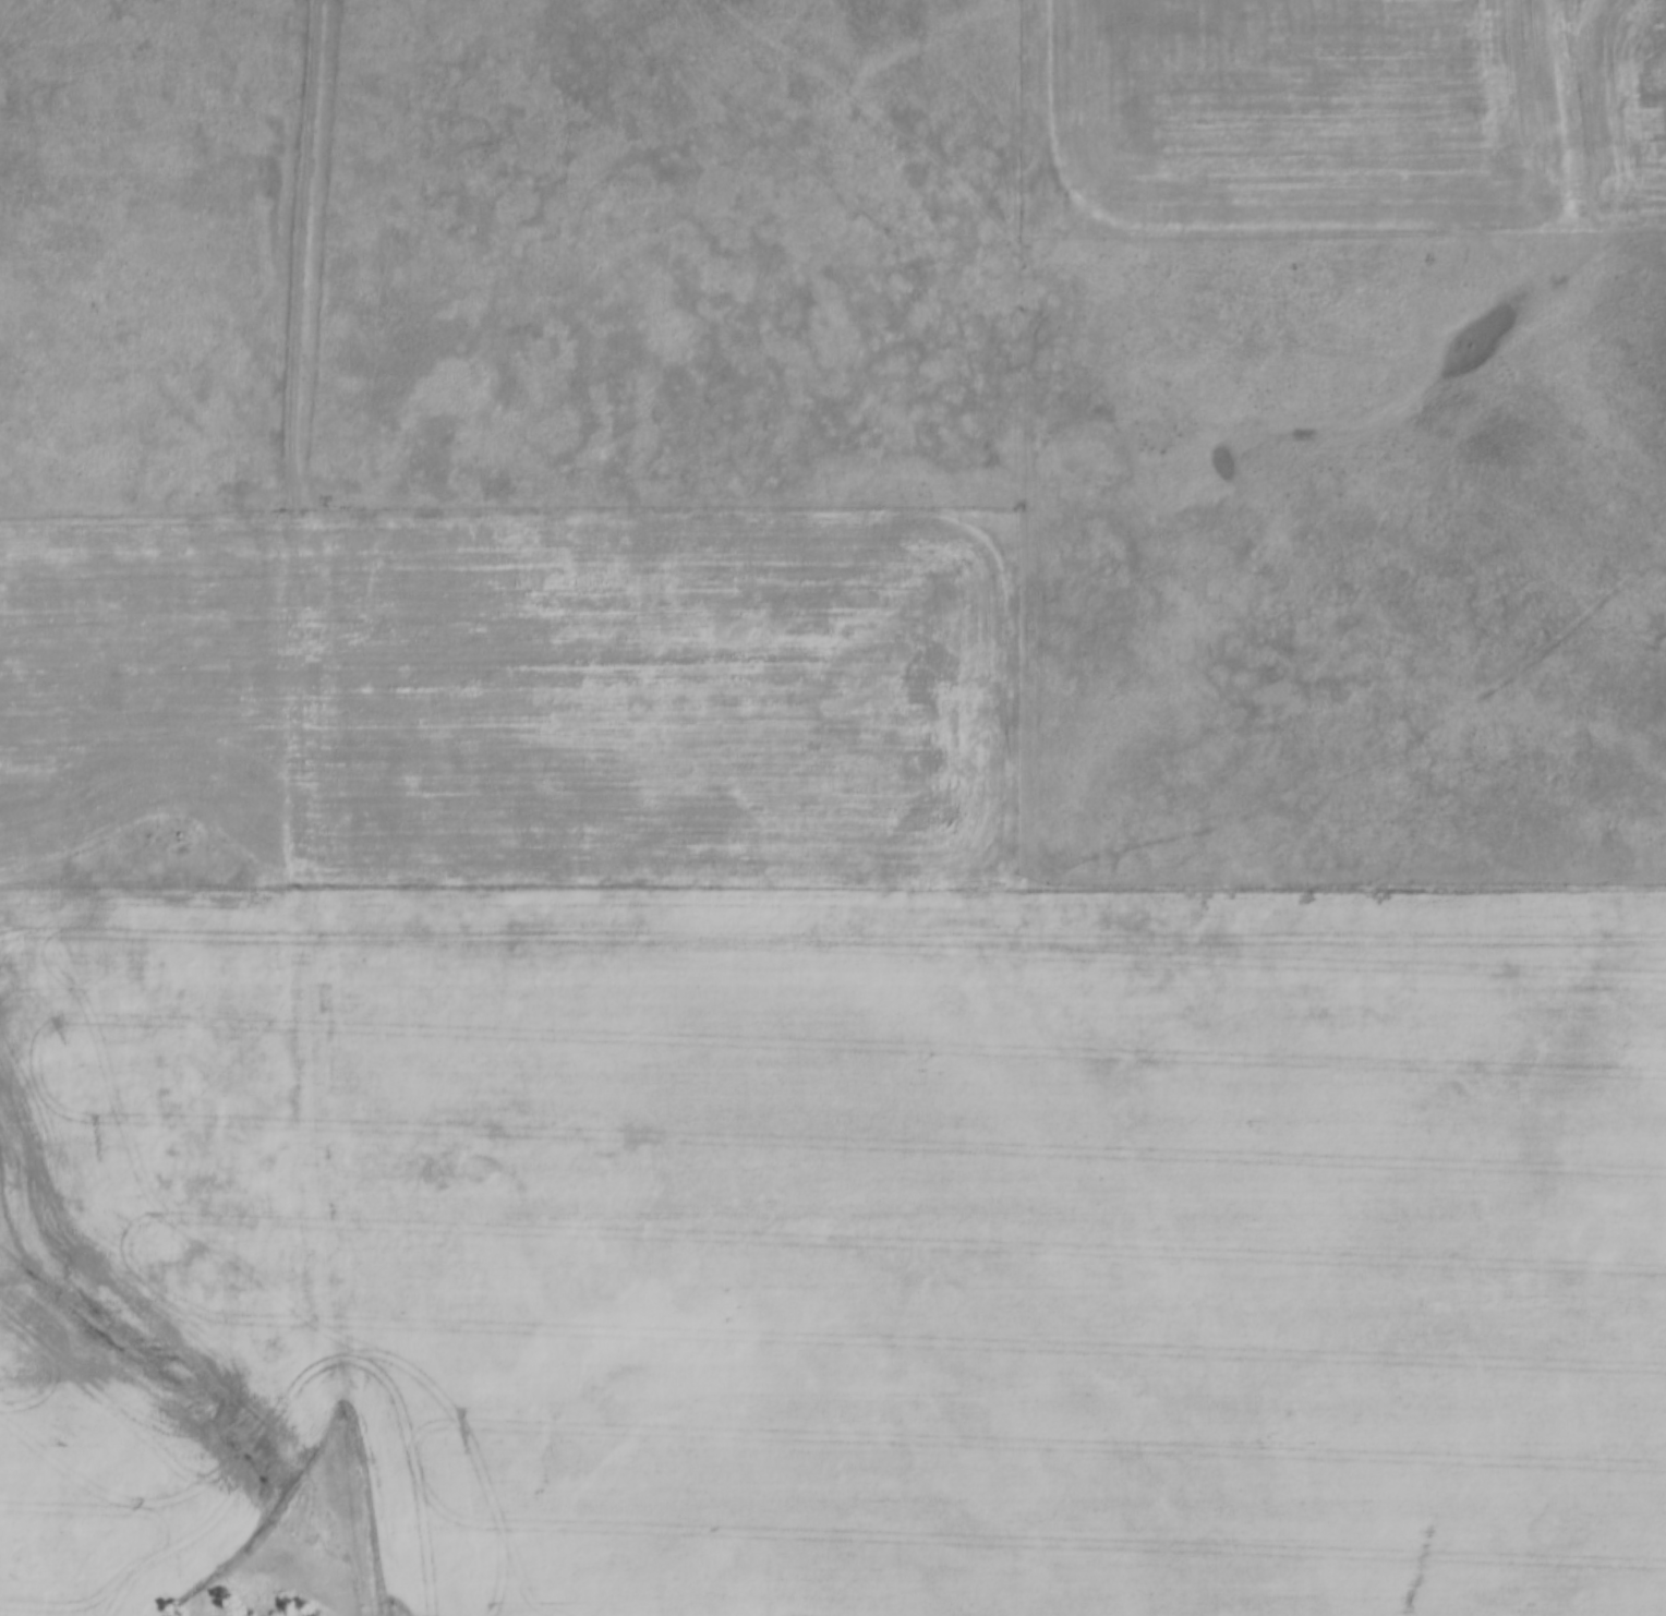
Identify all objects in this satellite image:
road: (310, 823)
road: (158, 895)

